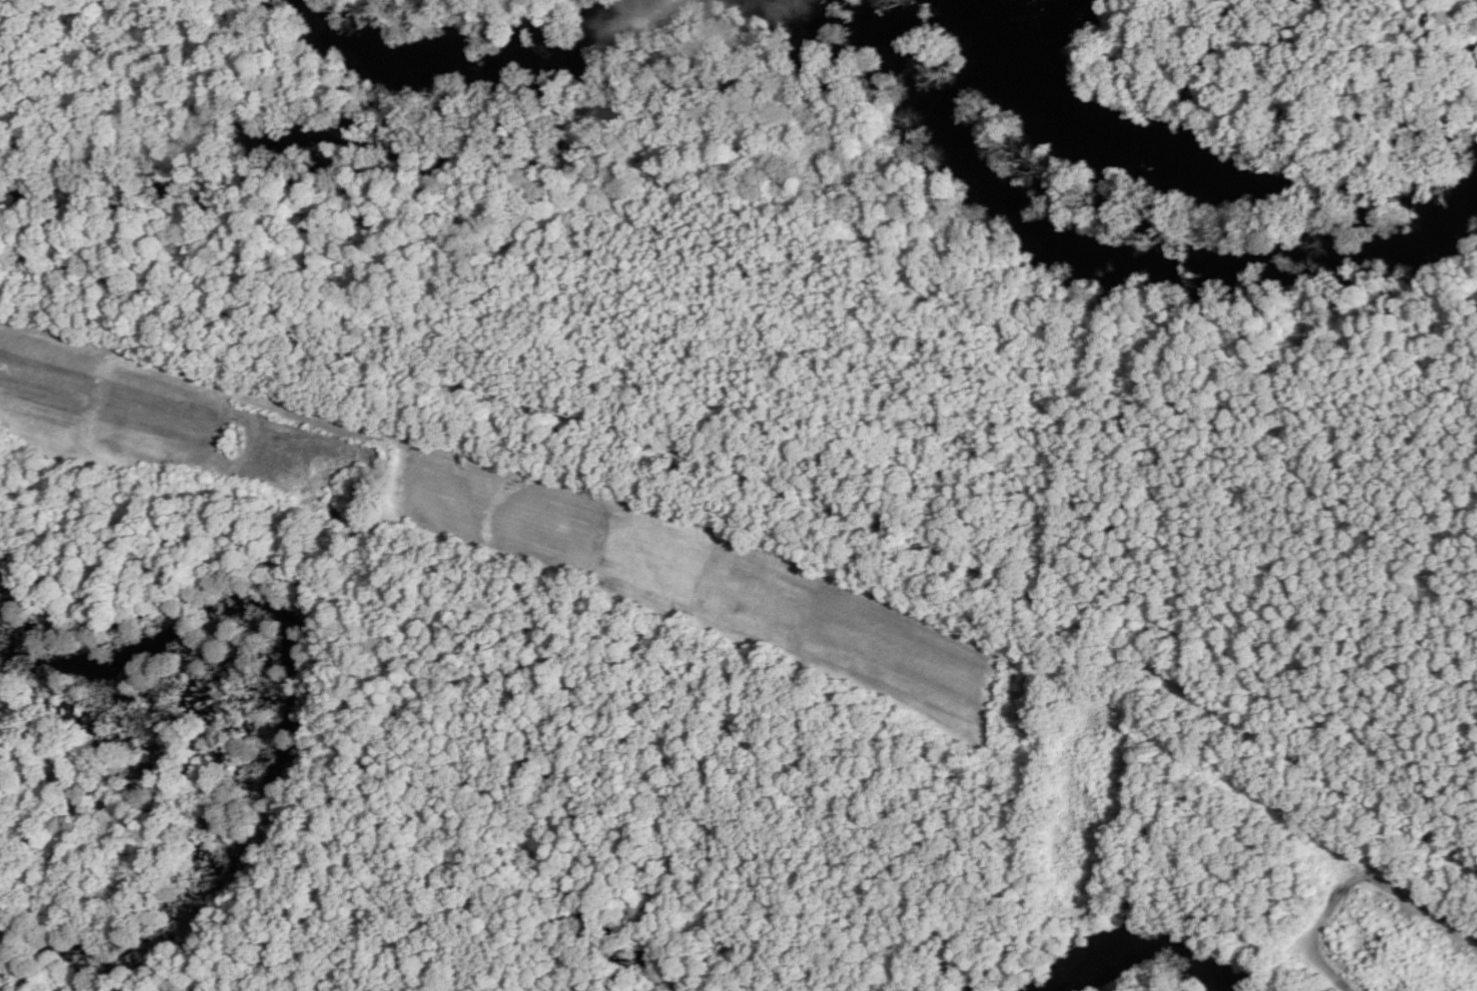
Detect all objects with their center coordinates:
river: (485, 67)
river: (1096, 254)
road: (767, 542)
river: (1147, 948)

